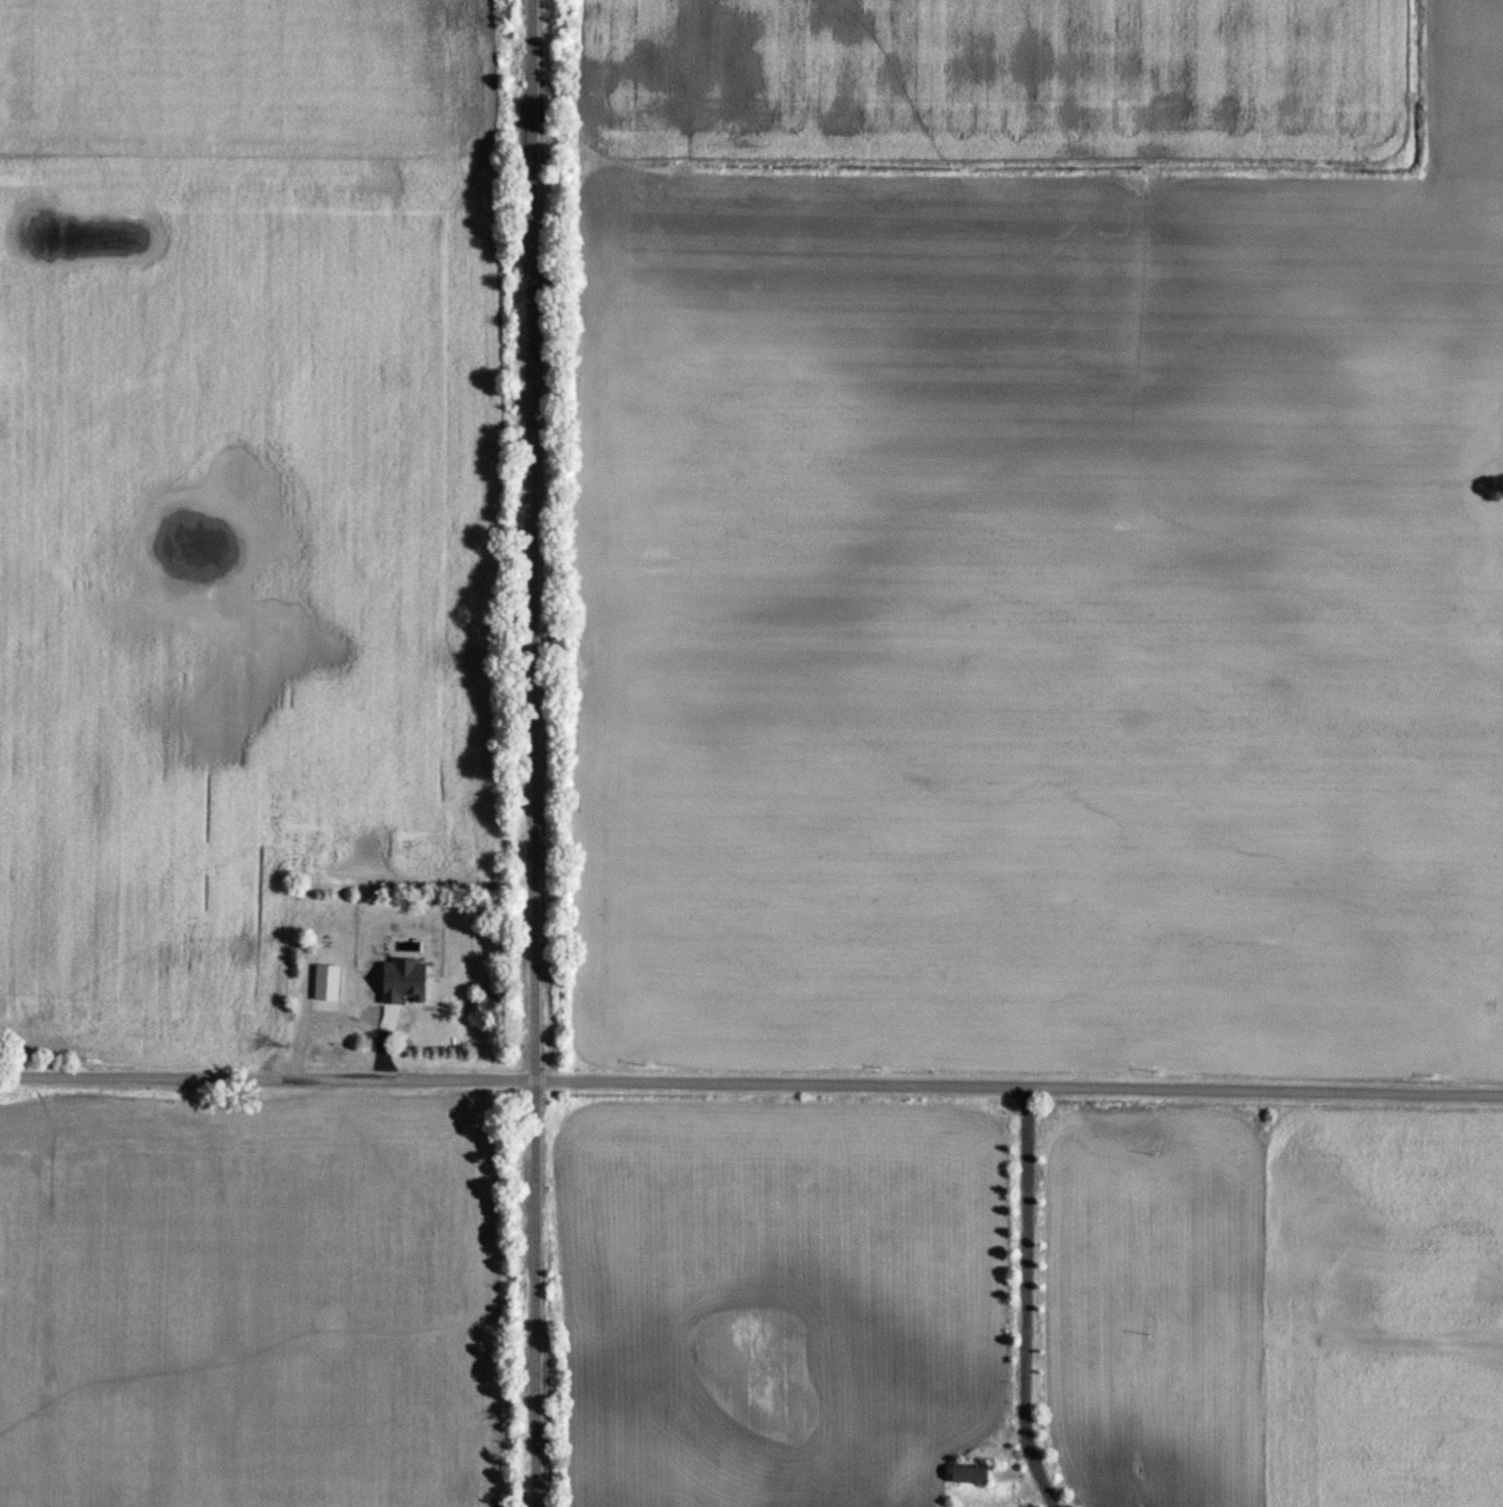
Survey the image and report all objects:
railway: (533, 753)
building: (311, 1020)
road: (751, 1084)
road: (1027, 1287)
building: (964, 1476)

